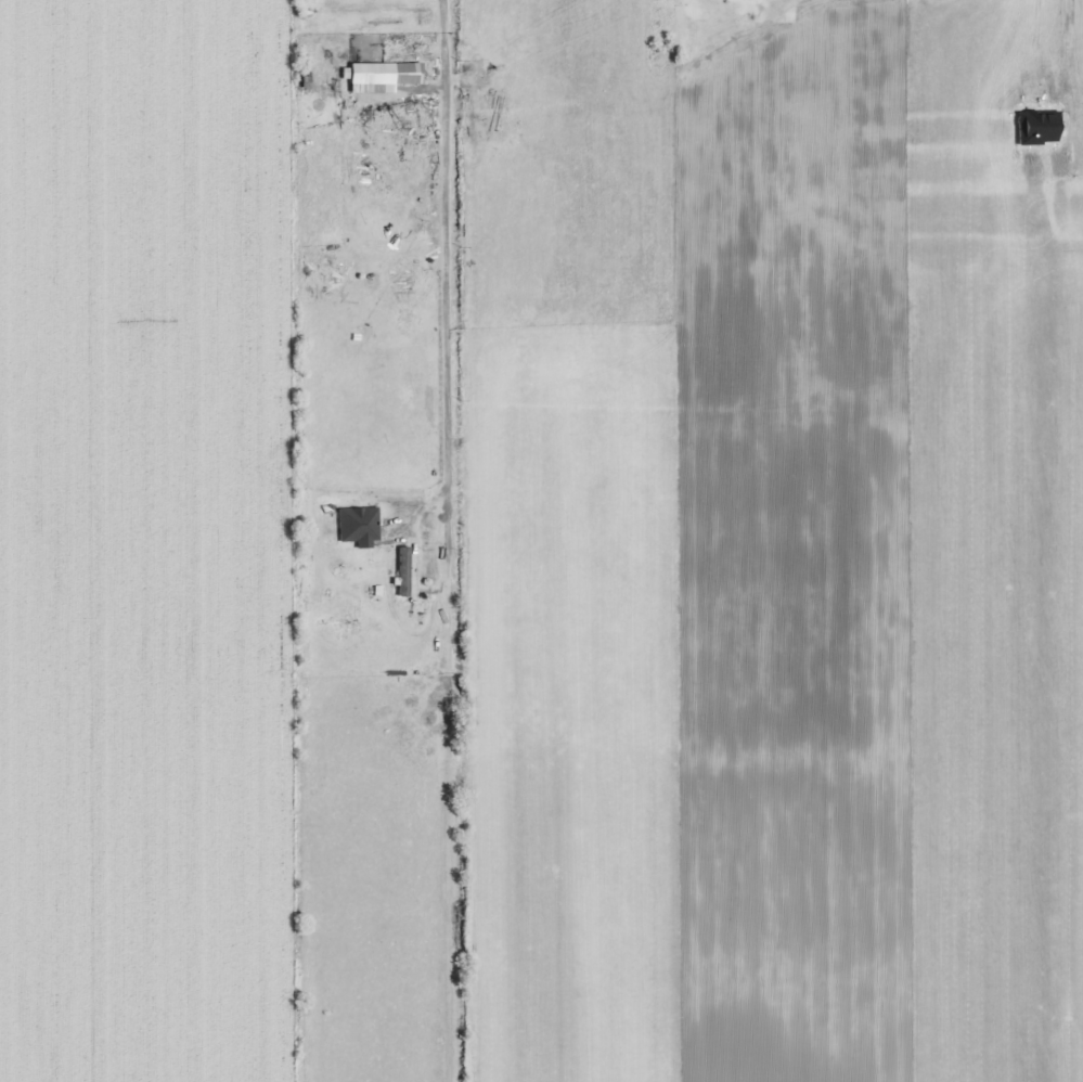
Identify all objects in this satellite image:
building: (370, 73)
building: (405, 571)
building: (354, 574)

